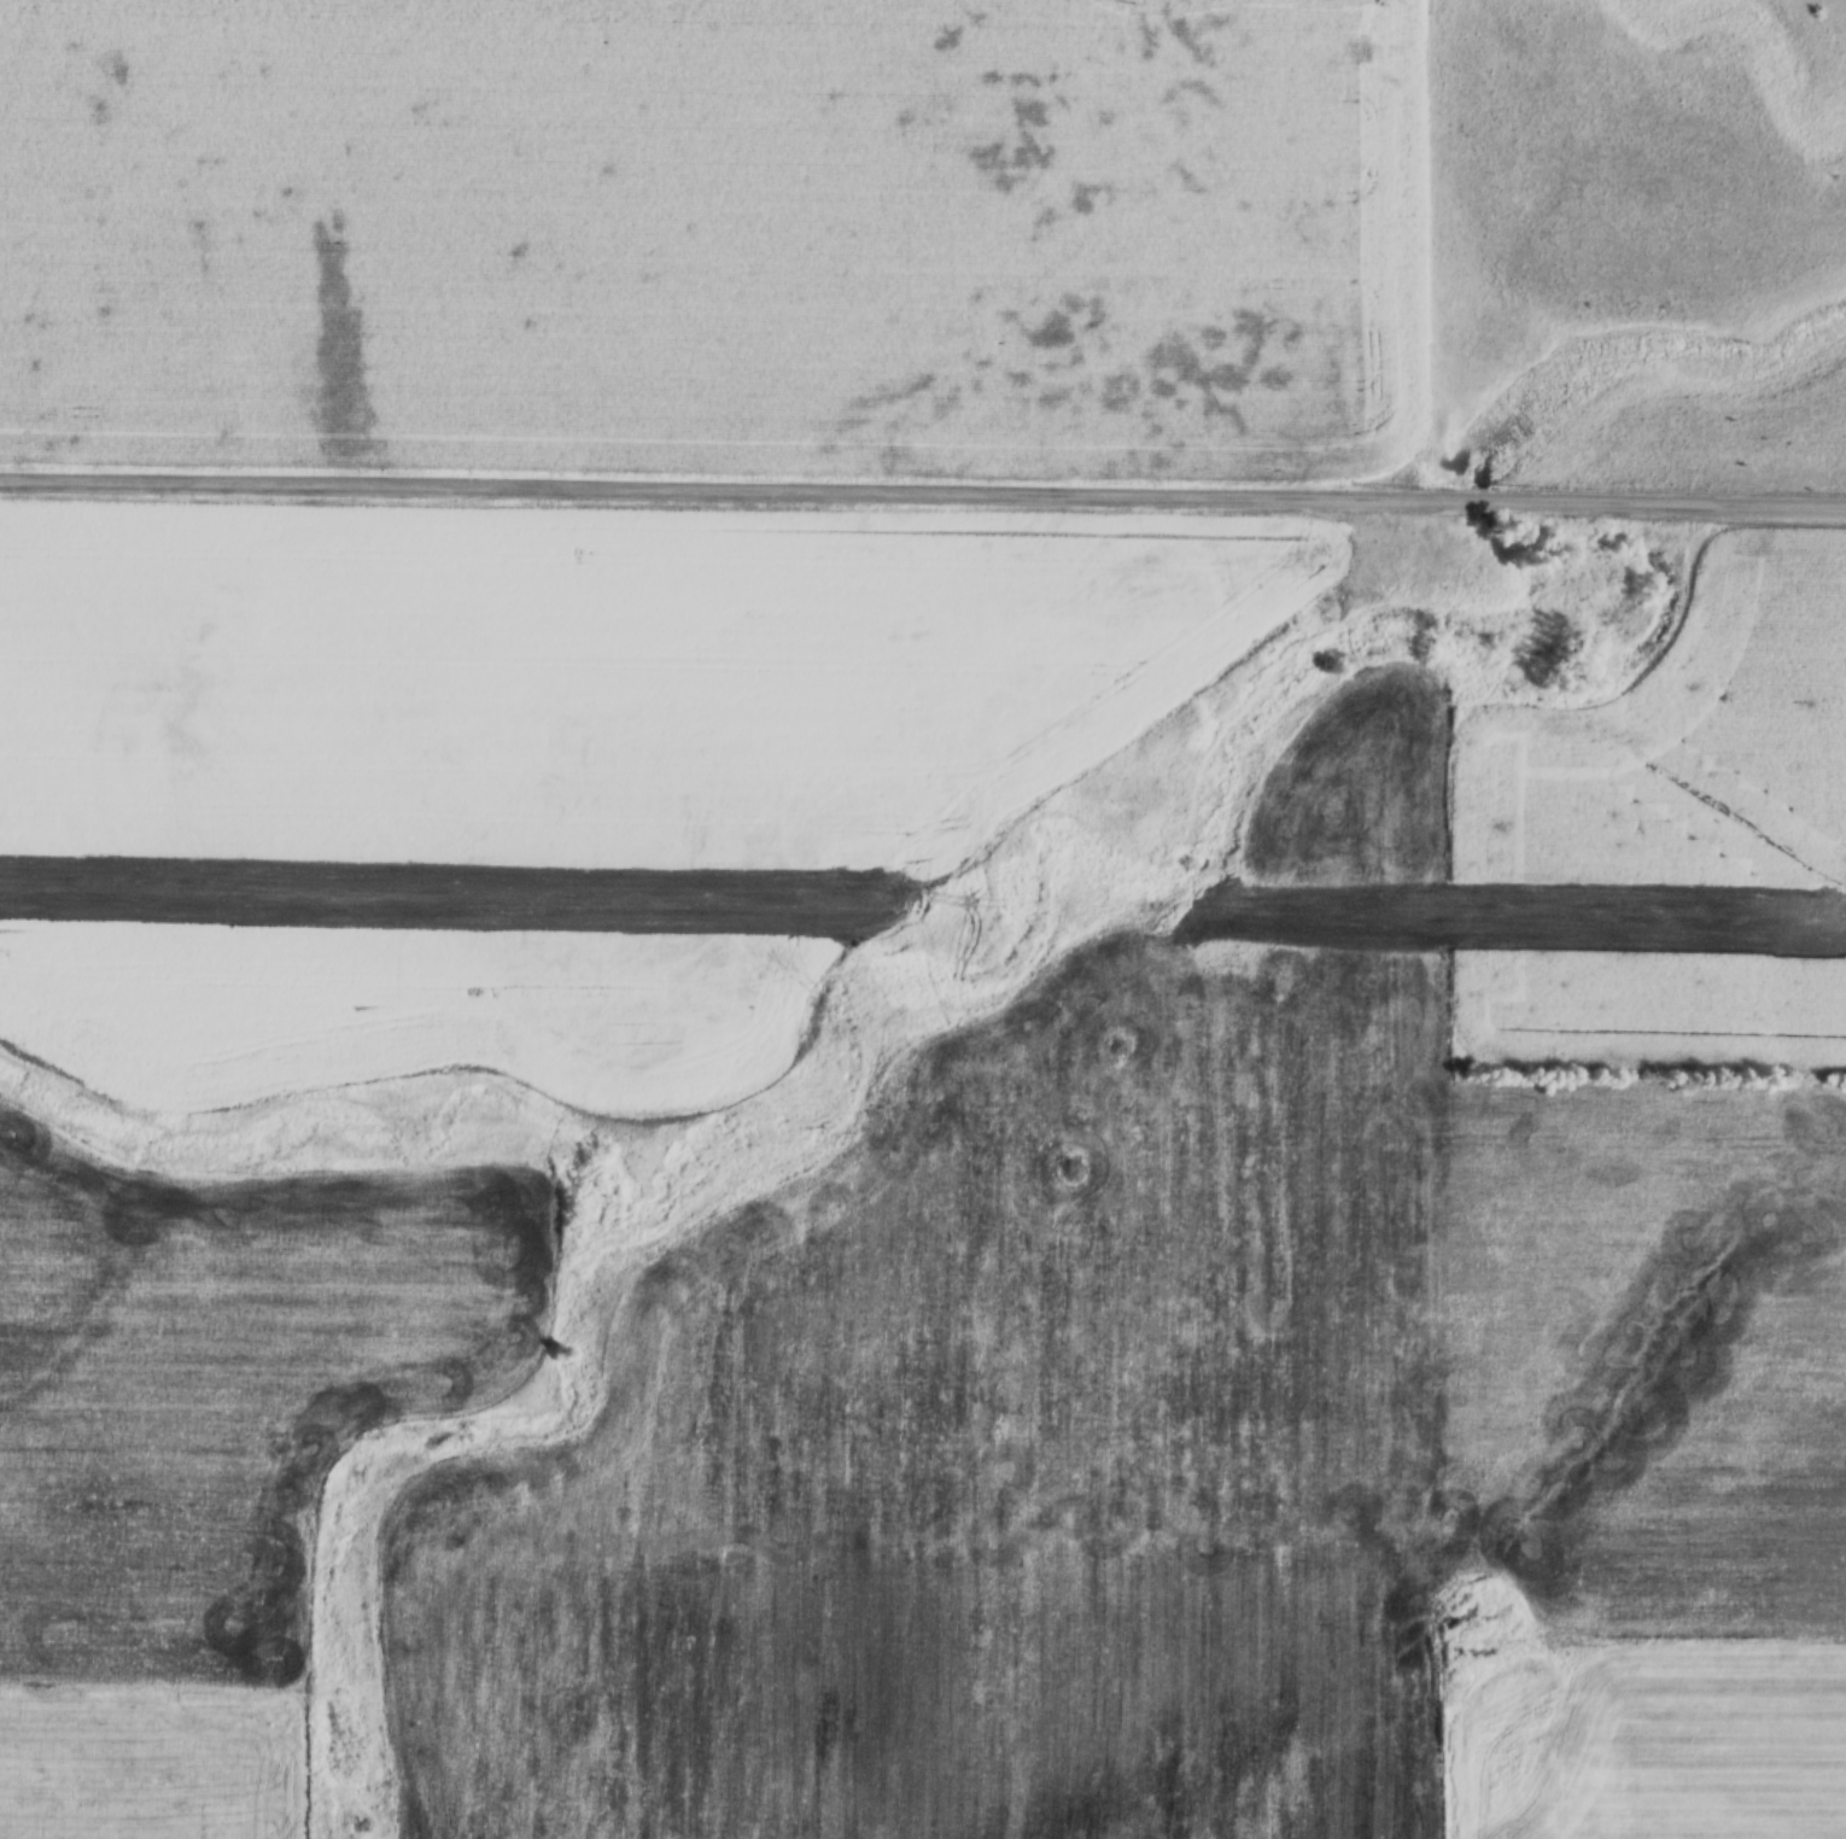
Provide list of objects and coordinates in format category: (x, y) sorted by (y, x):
road: (923, 498)

